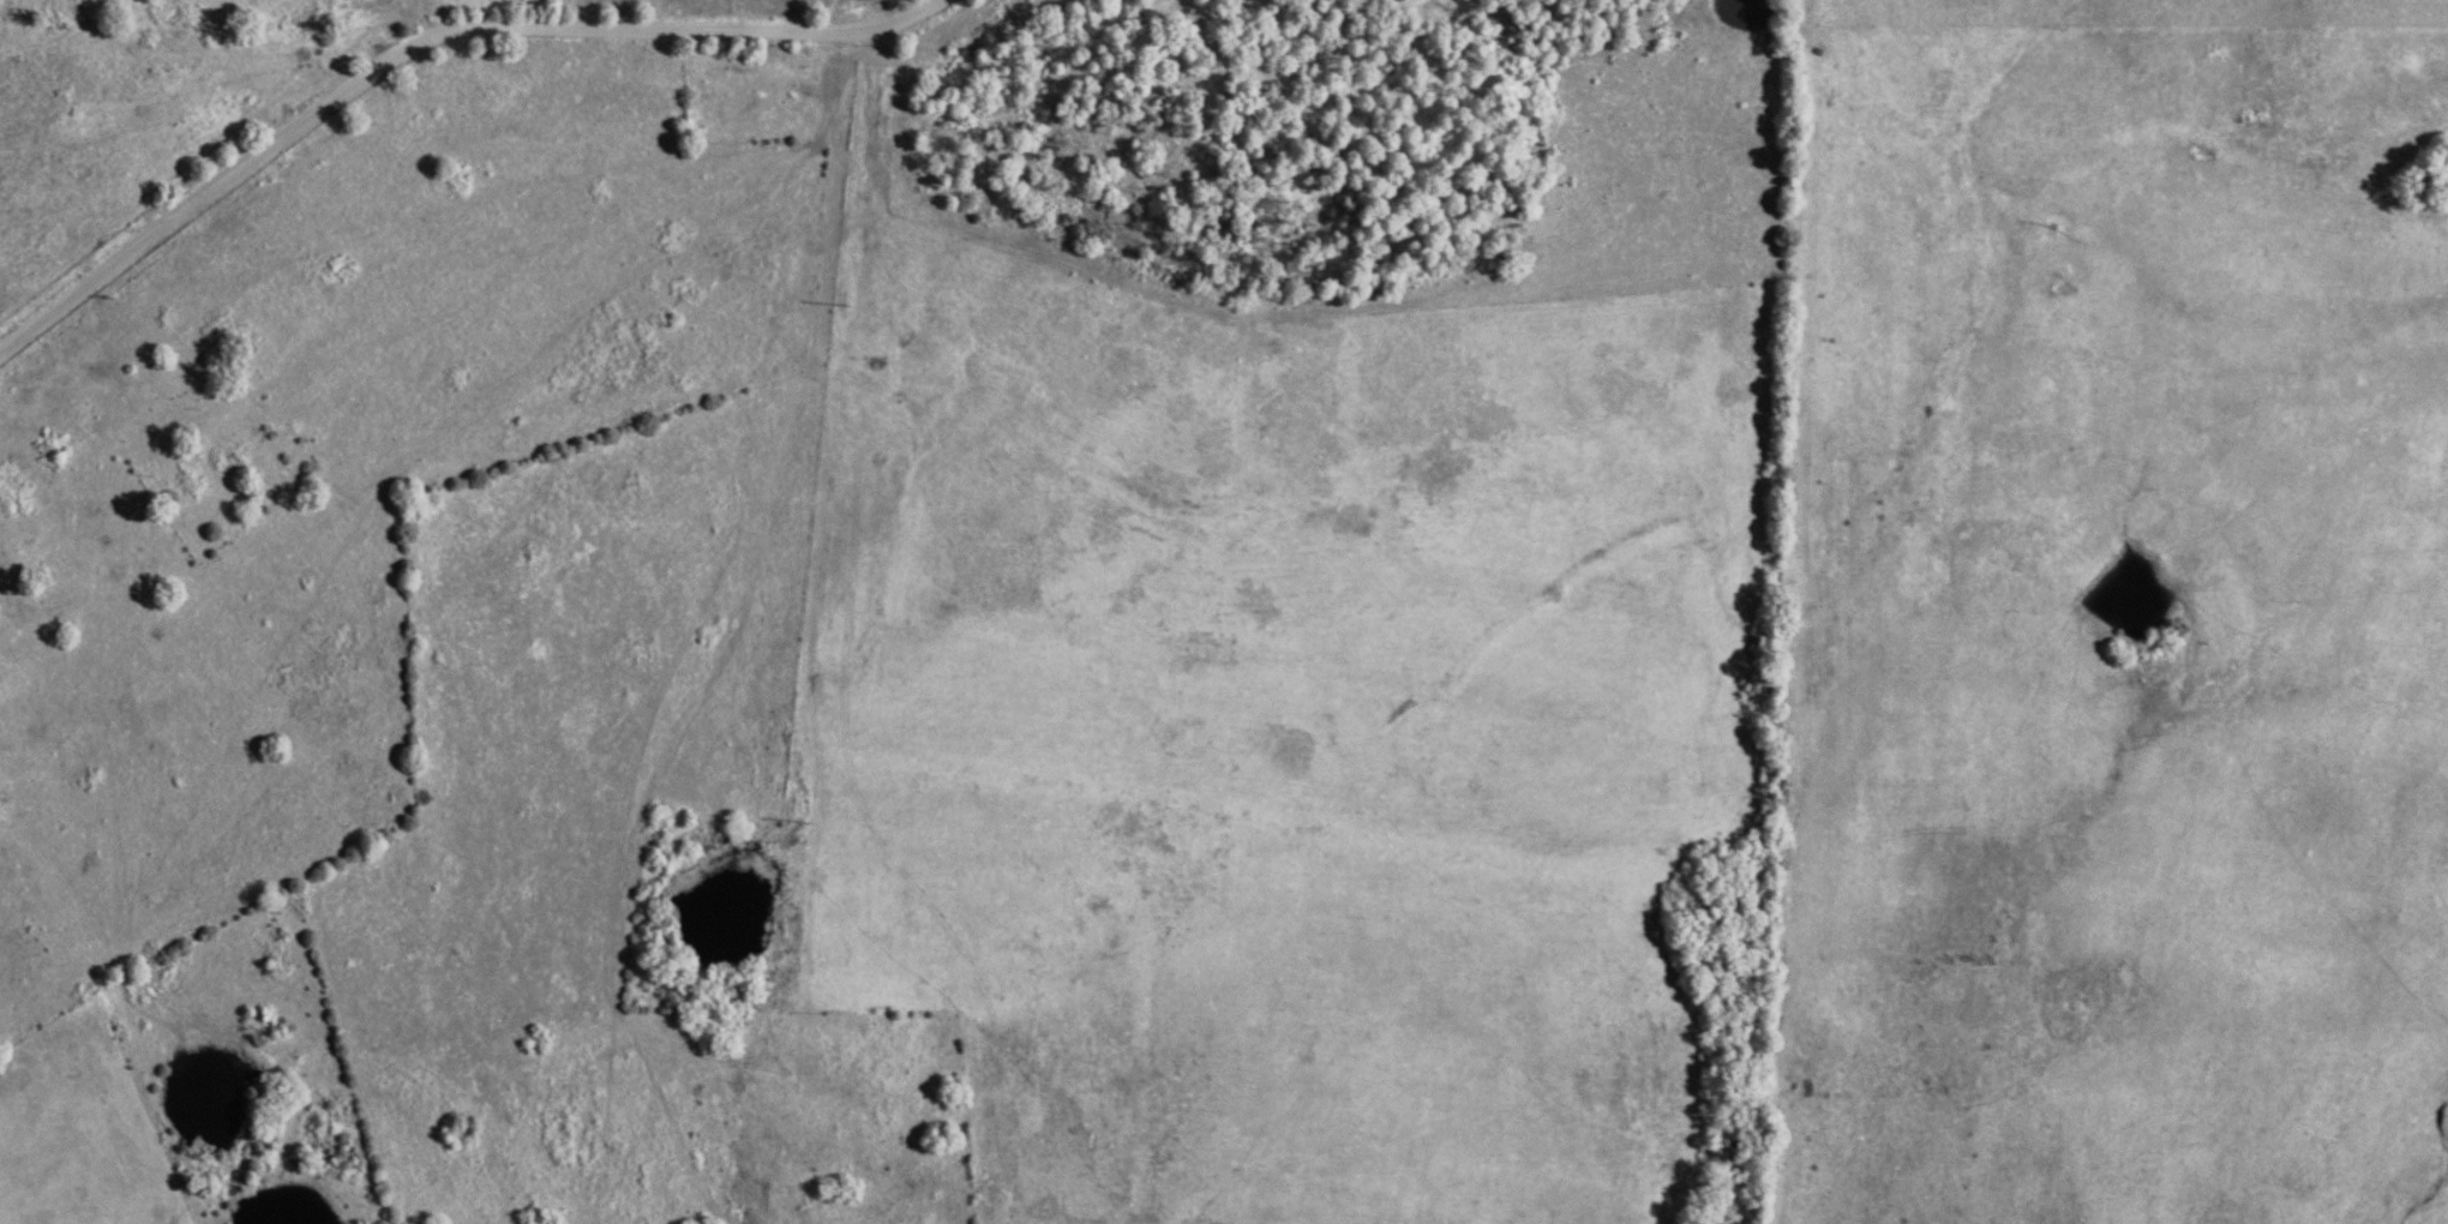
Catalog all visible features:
road: (662, 32)
road: (198, 198)

